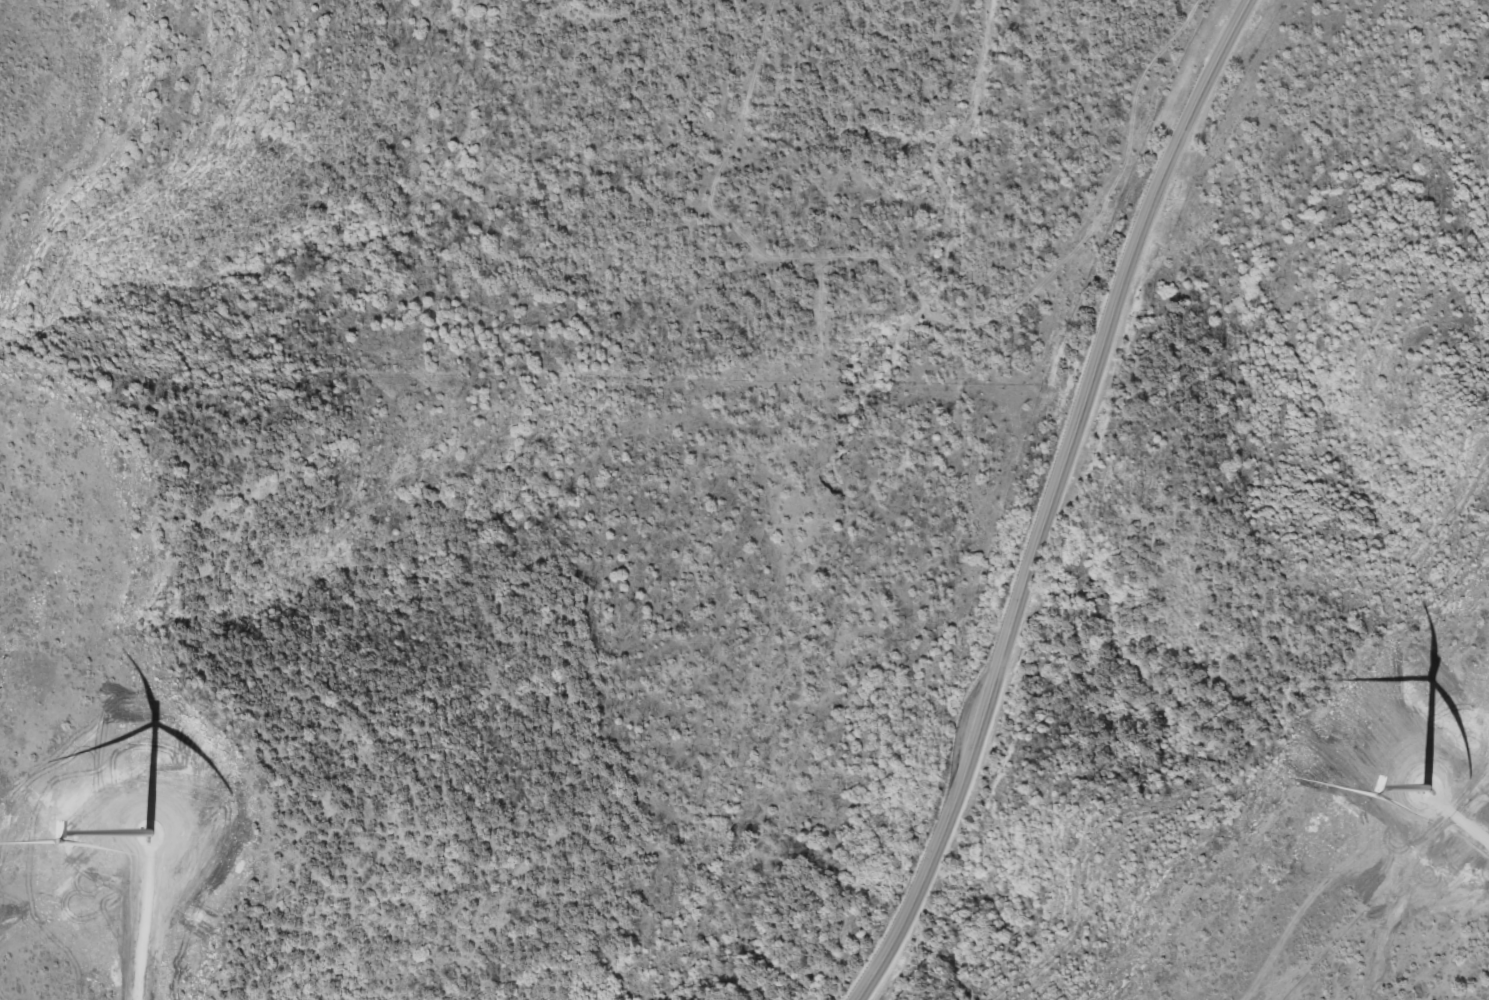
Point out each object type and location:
road: (1054, 501)
wind turbine: (1427, 787)
wind turbine: (148, 823)

